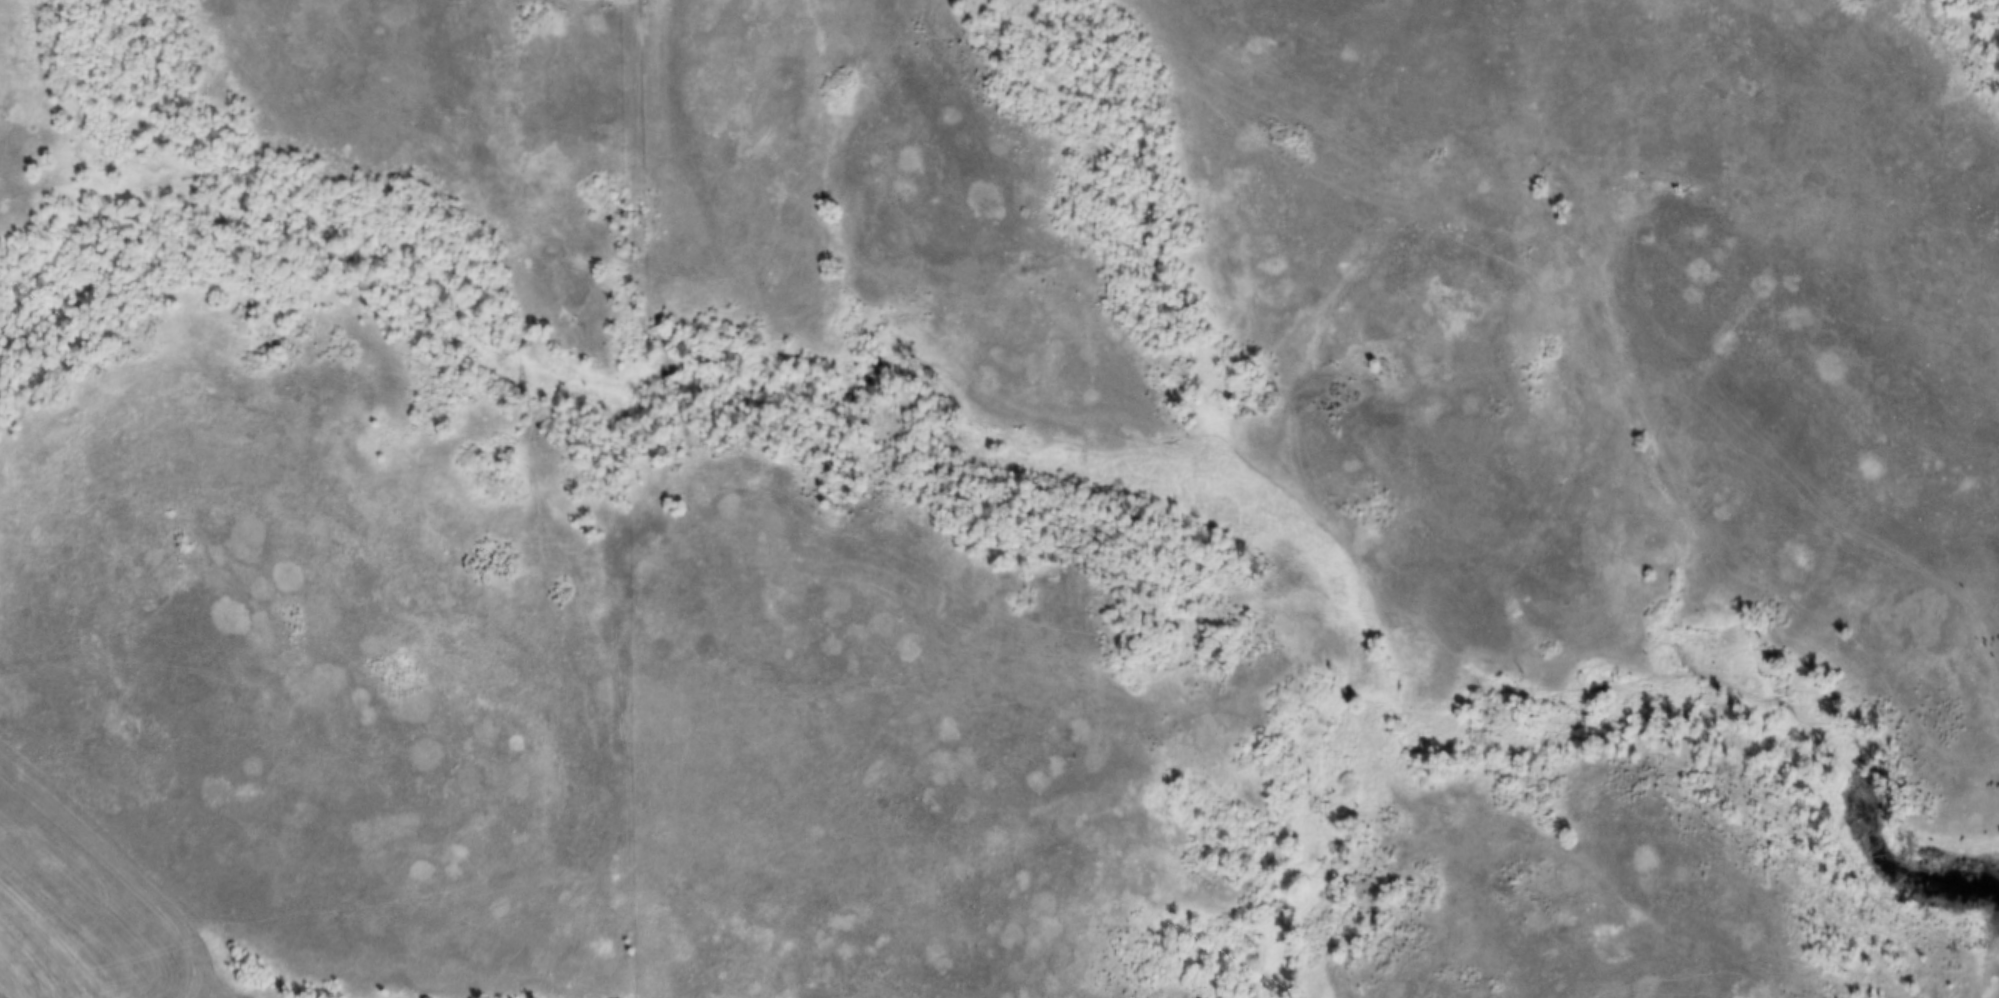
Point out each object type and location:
road: (1, 996)

